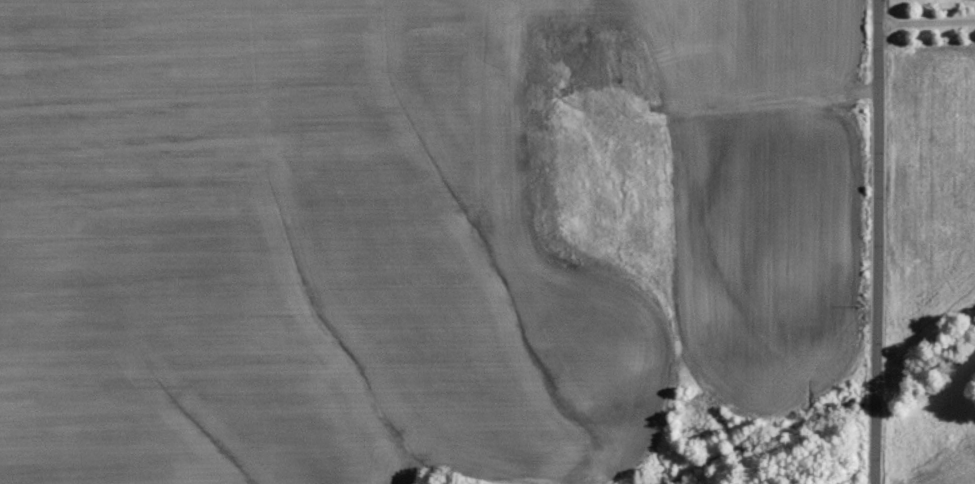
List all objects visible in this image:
road: (882, 242)

